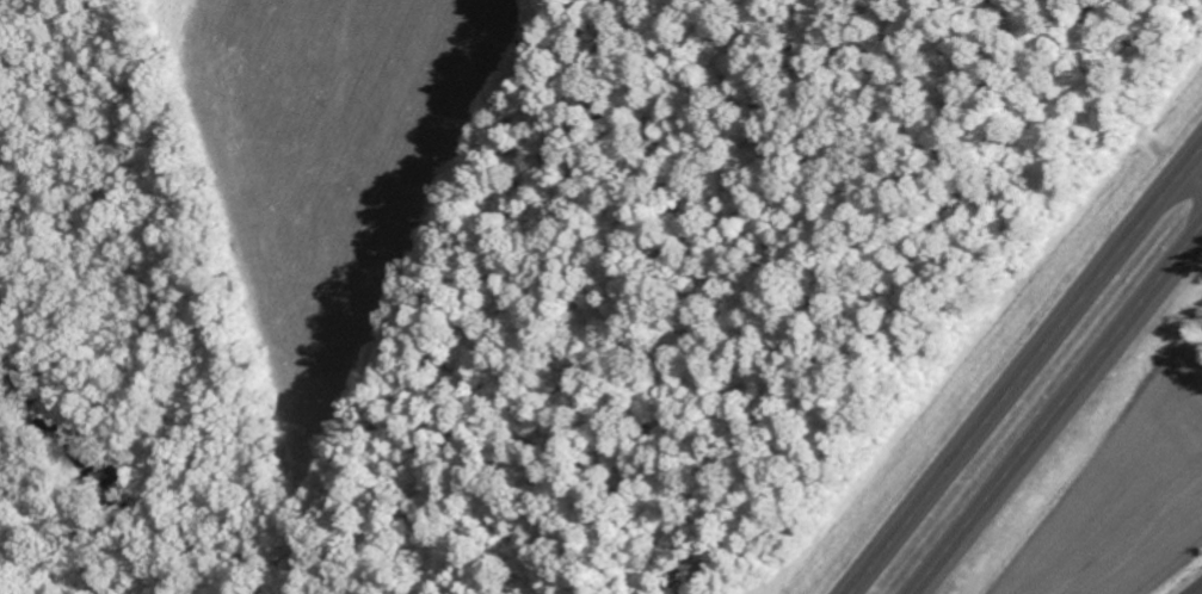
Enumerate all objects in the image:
road: (1192, 168)
road: (1022, 365)
road: (1061, 414)
road: (1195, 588)

